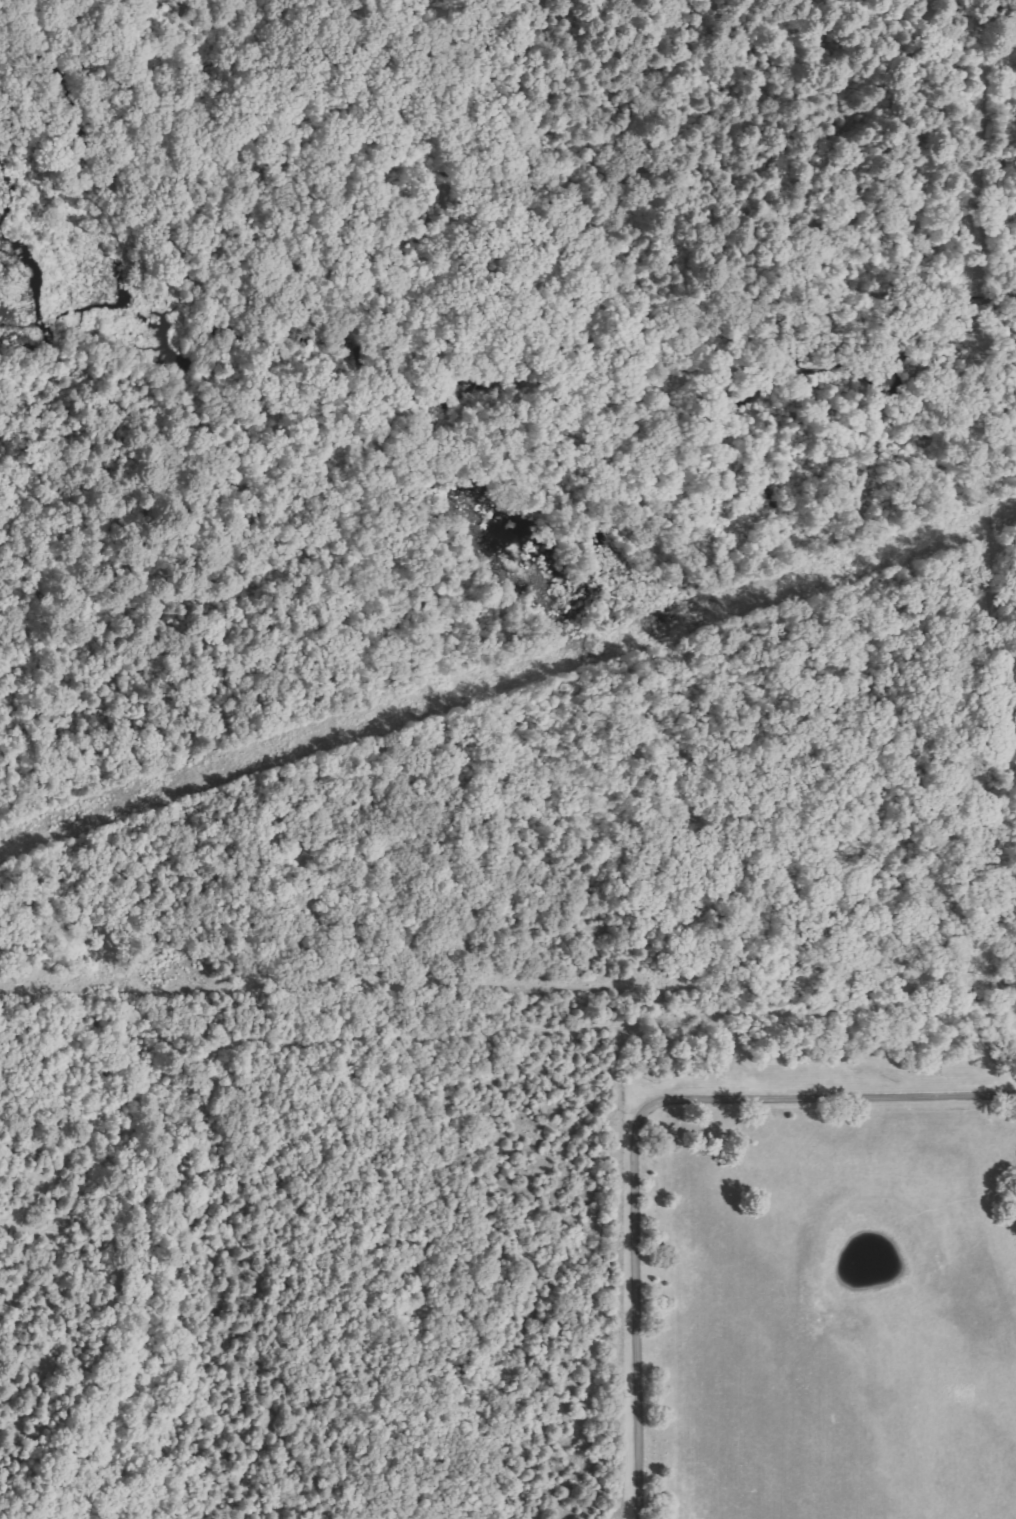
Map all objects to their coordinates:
road: (637, 1127)

